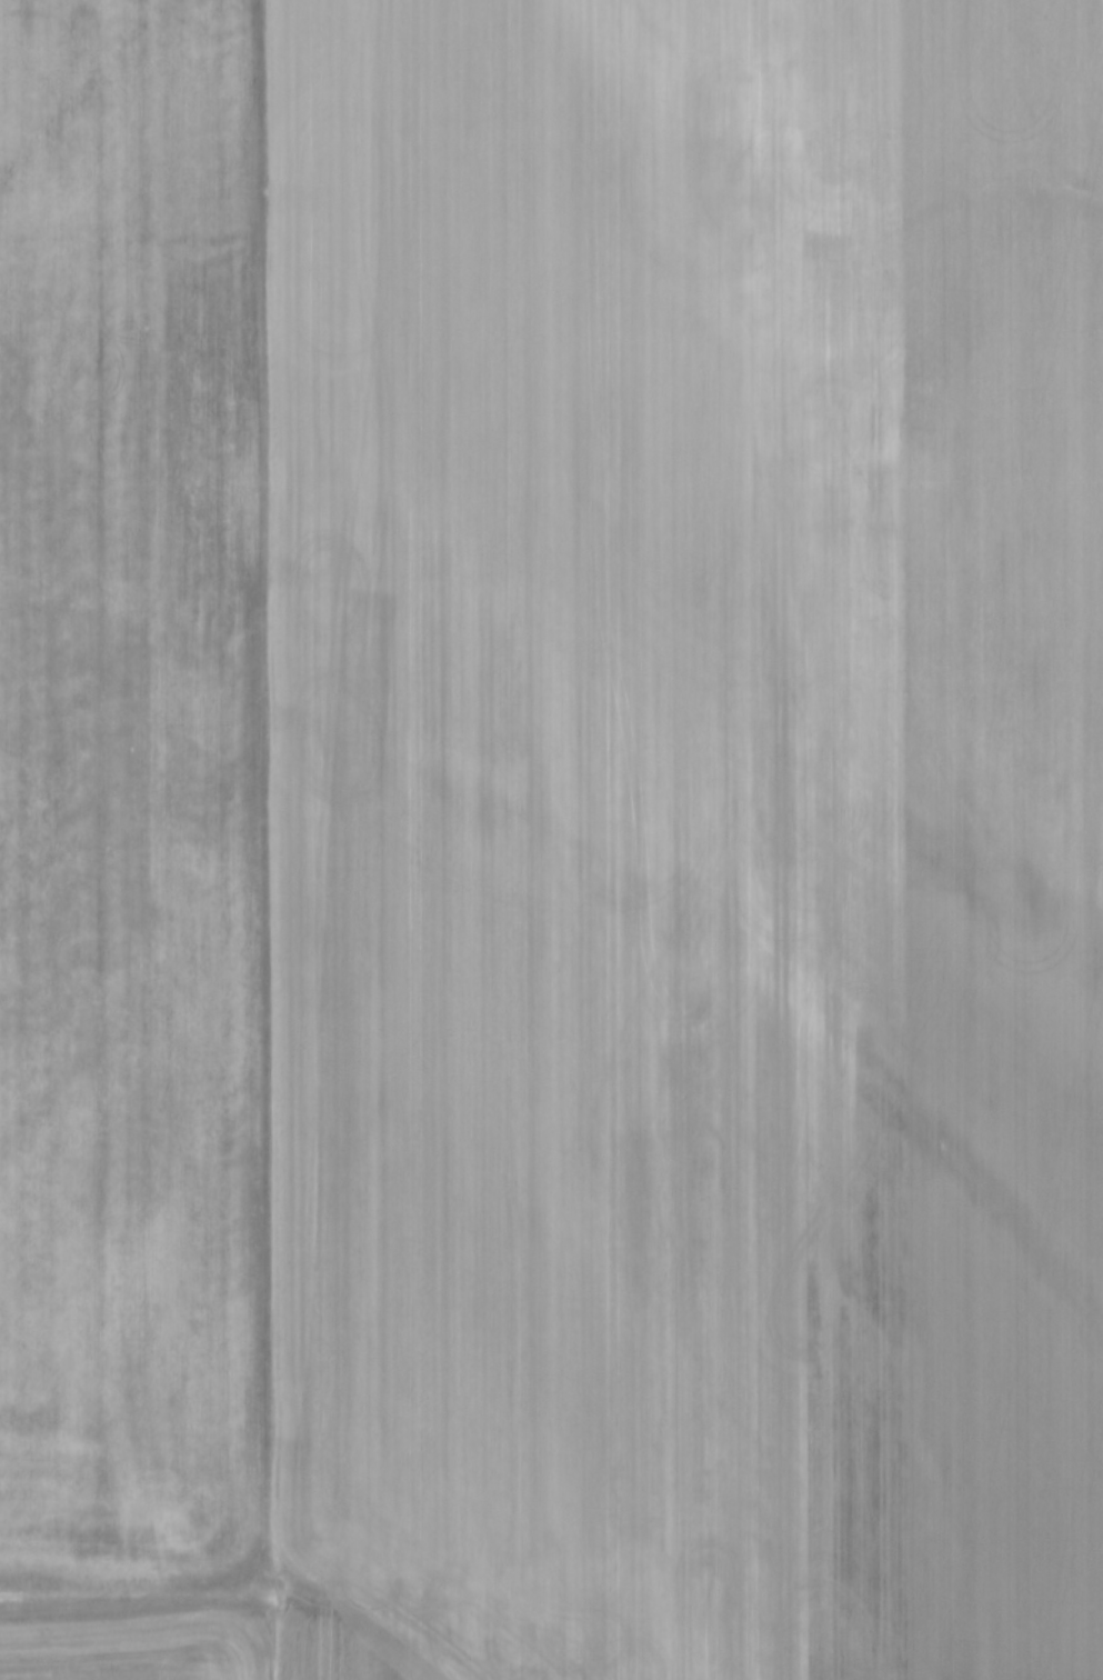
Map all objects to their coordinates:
road: (154, 1617)

